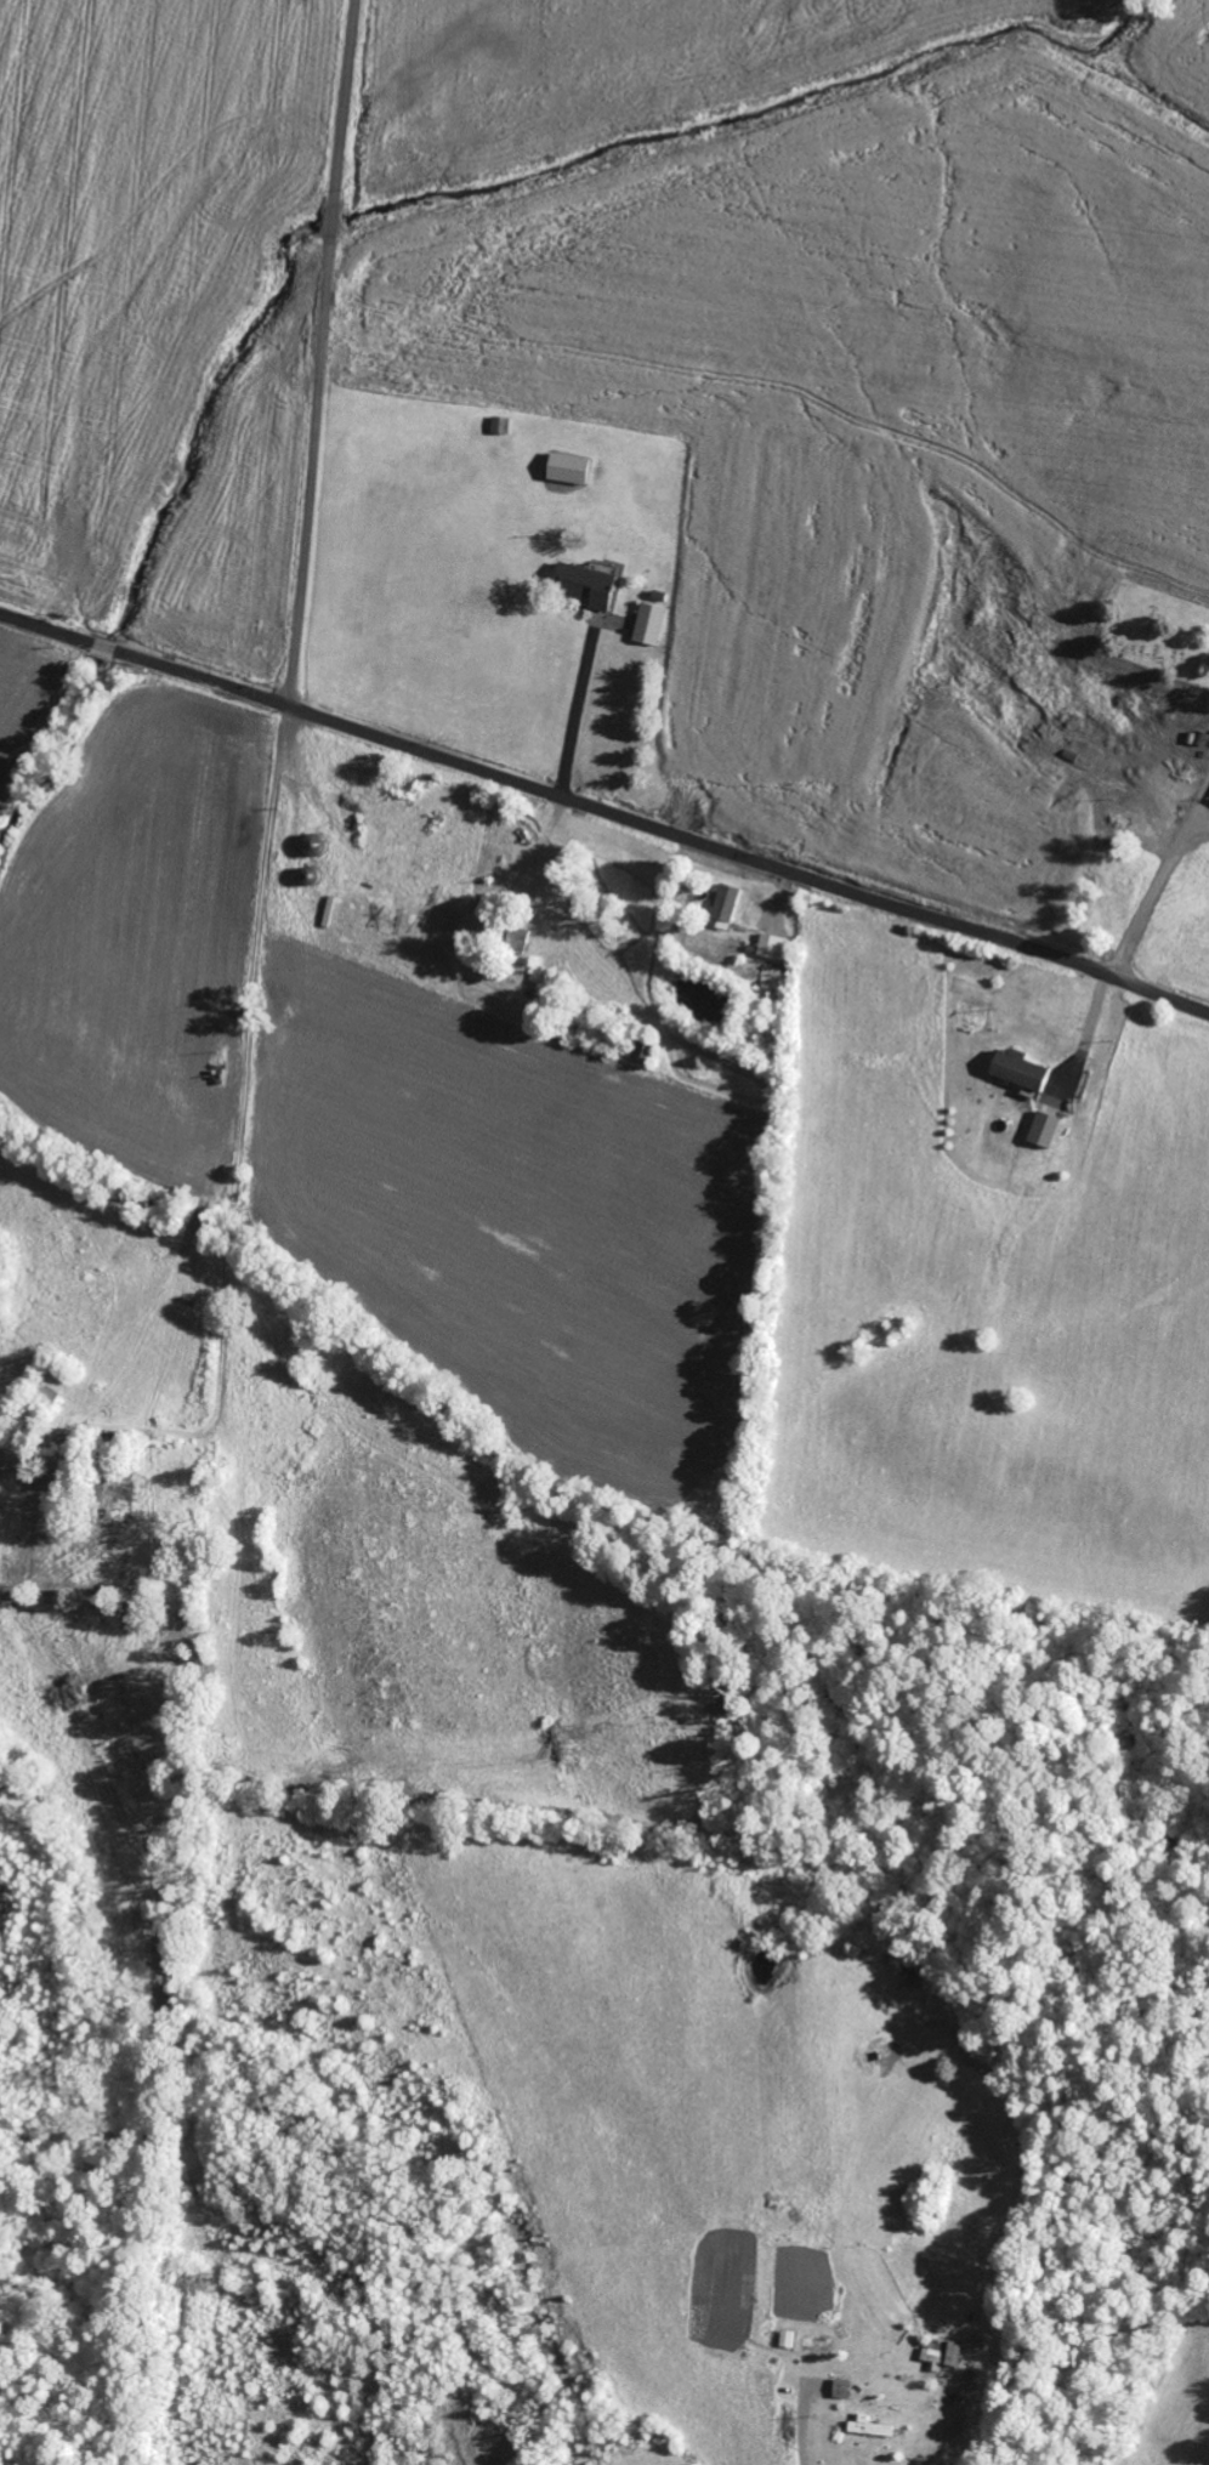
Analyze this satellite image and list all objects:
road: (324, 353)
building: (568, 468)
building: (585, 585)
building: (651, 624)
road: (604, 812)
building: (727, 904)
building: (774, 948)
building: (541, 981)
building: (641, 1049)
road: (273, 1056)
building: (1020, 1070)
building: (1045, 1130)
building: (789, 2339)
building: (845, 2390)
building: (872, 2427)

